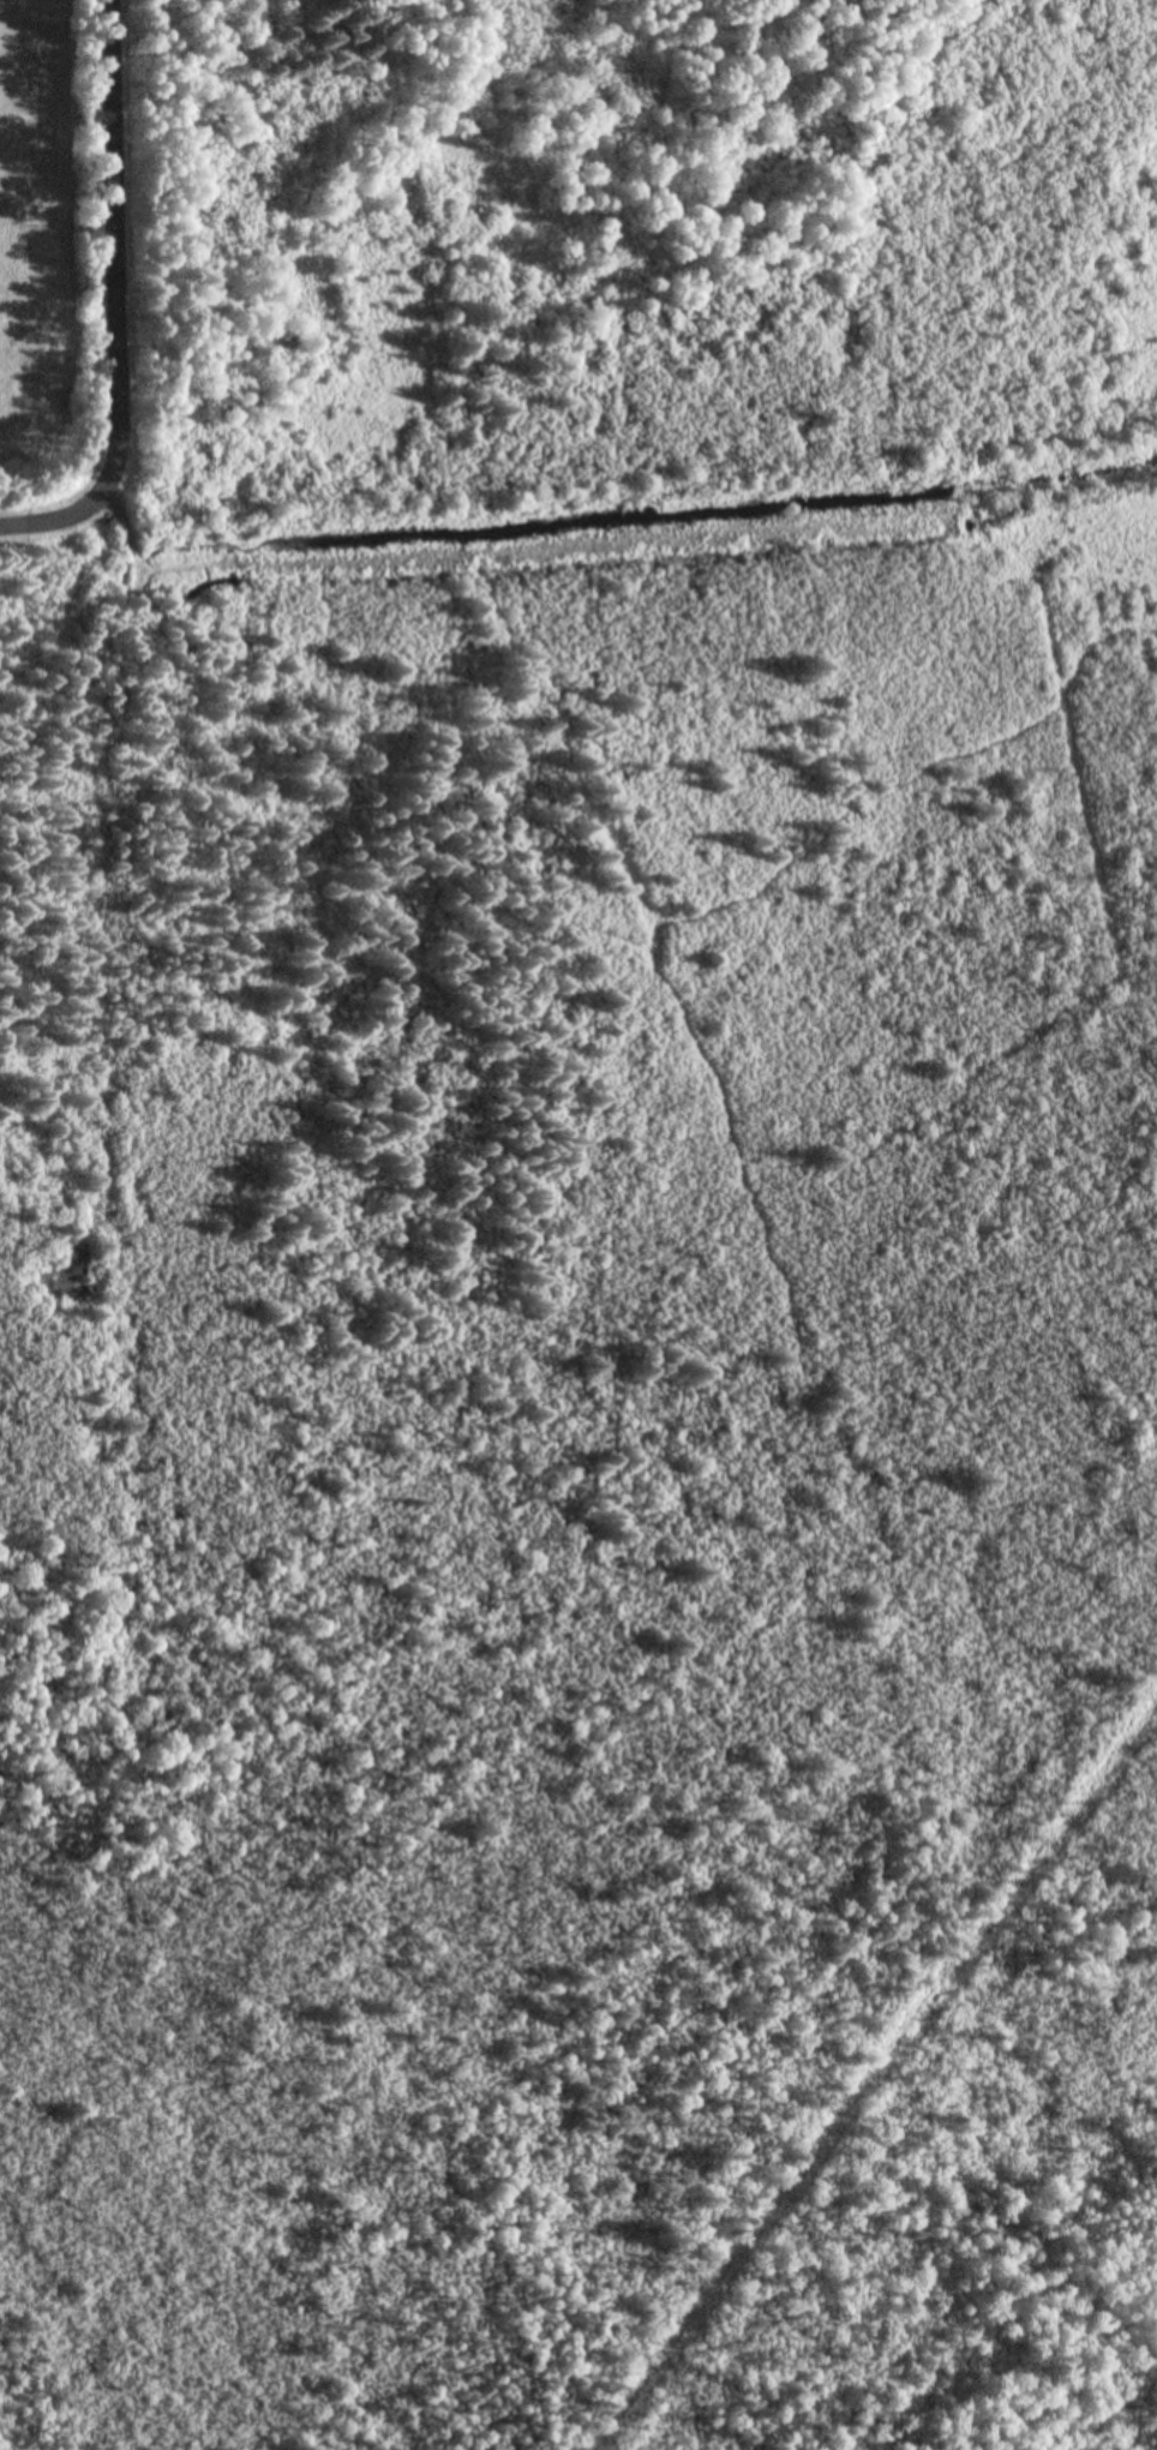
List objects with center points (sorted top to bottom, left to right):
road: (114, 232)
road: (70, 516)

